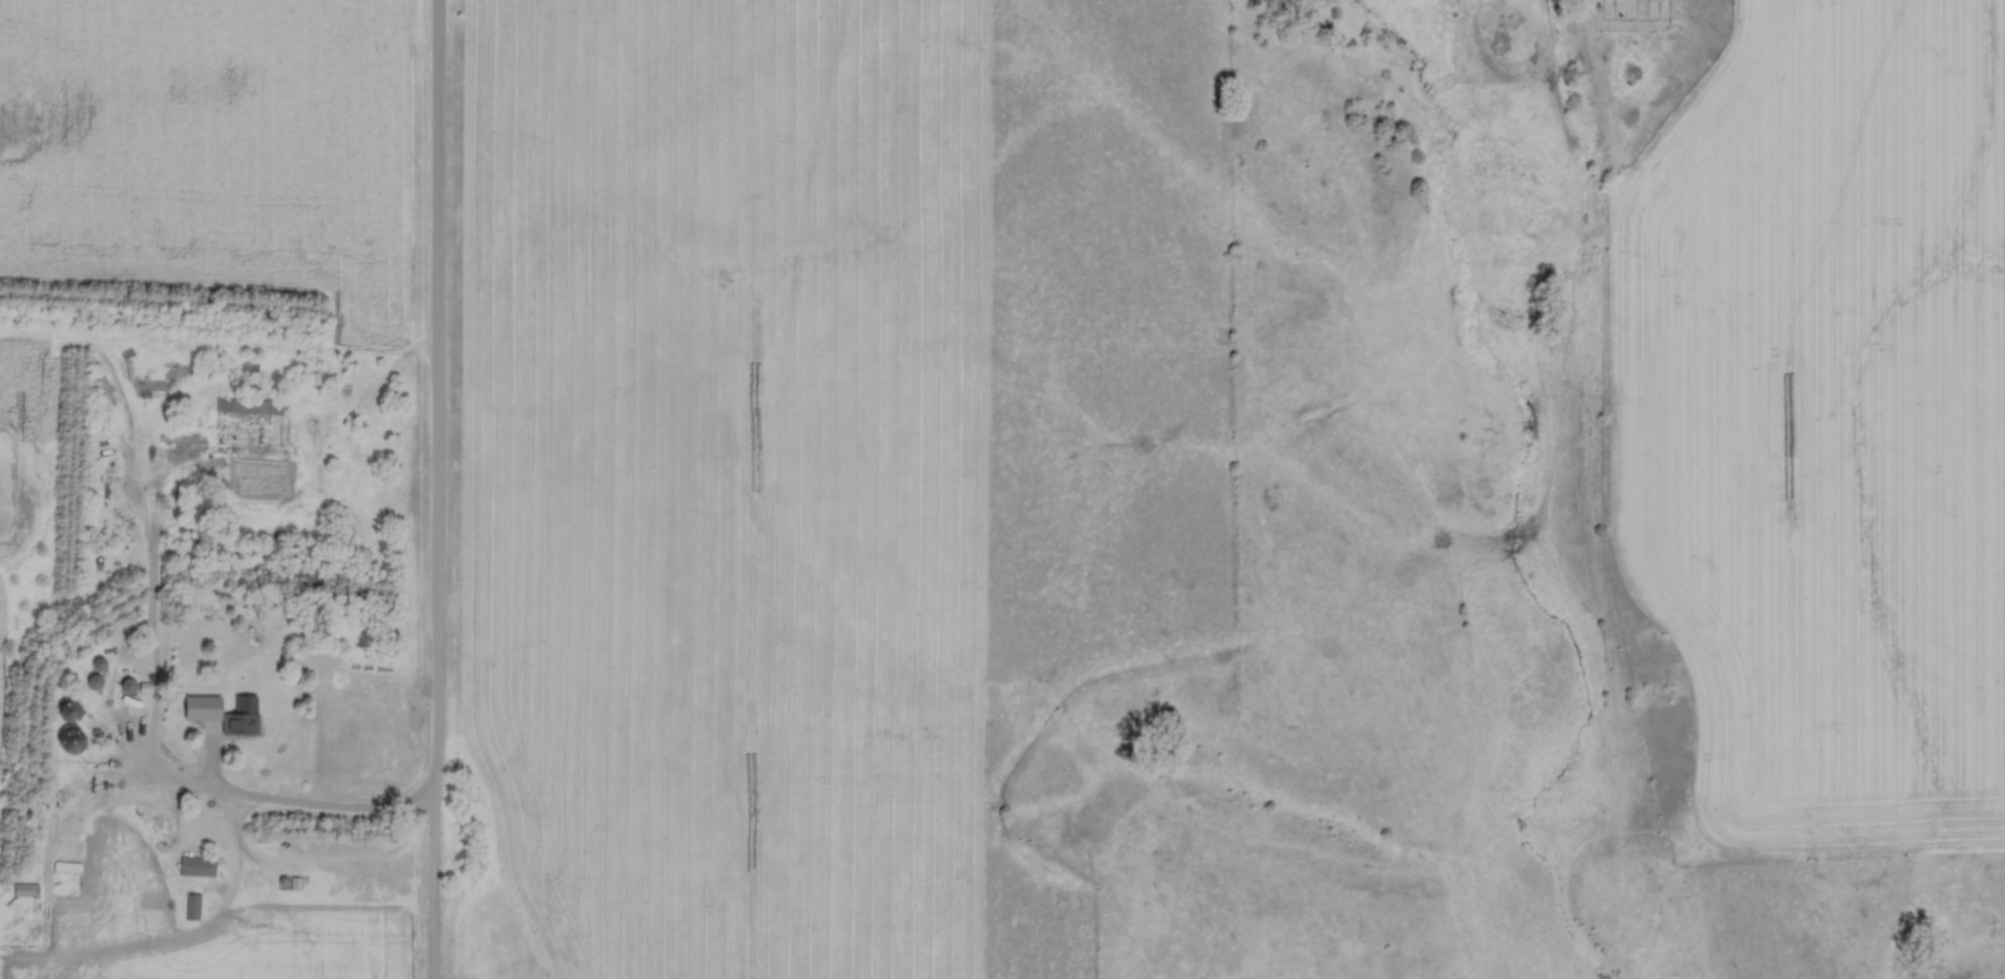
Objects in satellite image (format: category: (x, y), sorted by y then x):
building: (245, 407)
road: (439, 407)
building: (222, 716)
road: (312, 810)
building: (199, 867)
building: (29, 891)
building: (195, 908)

